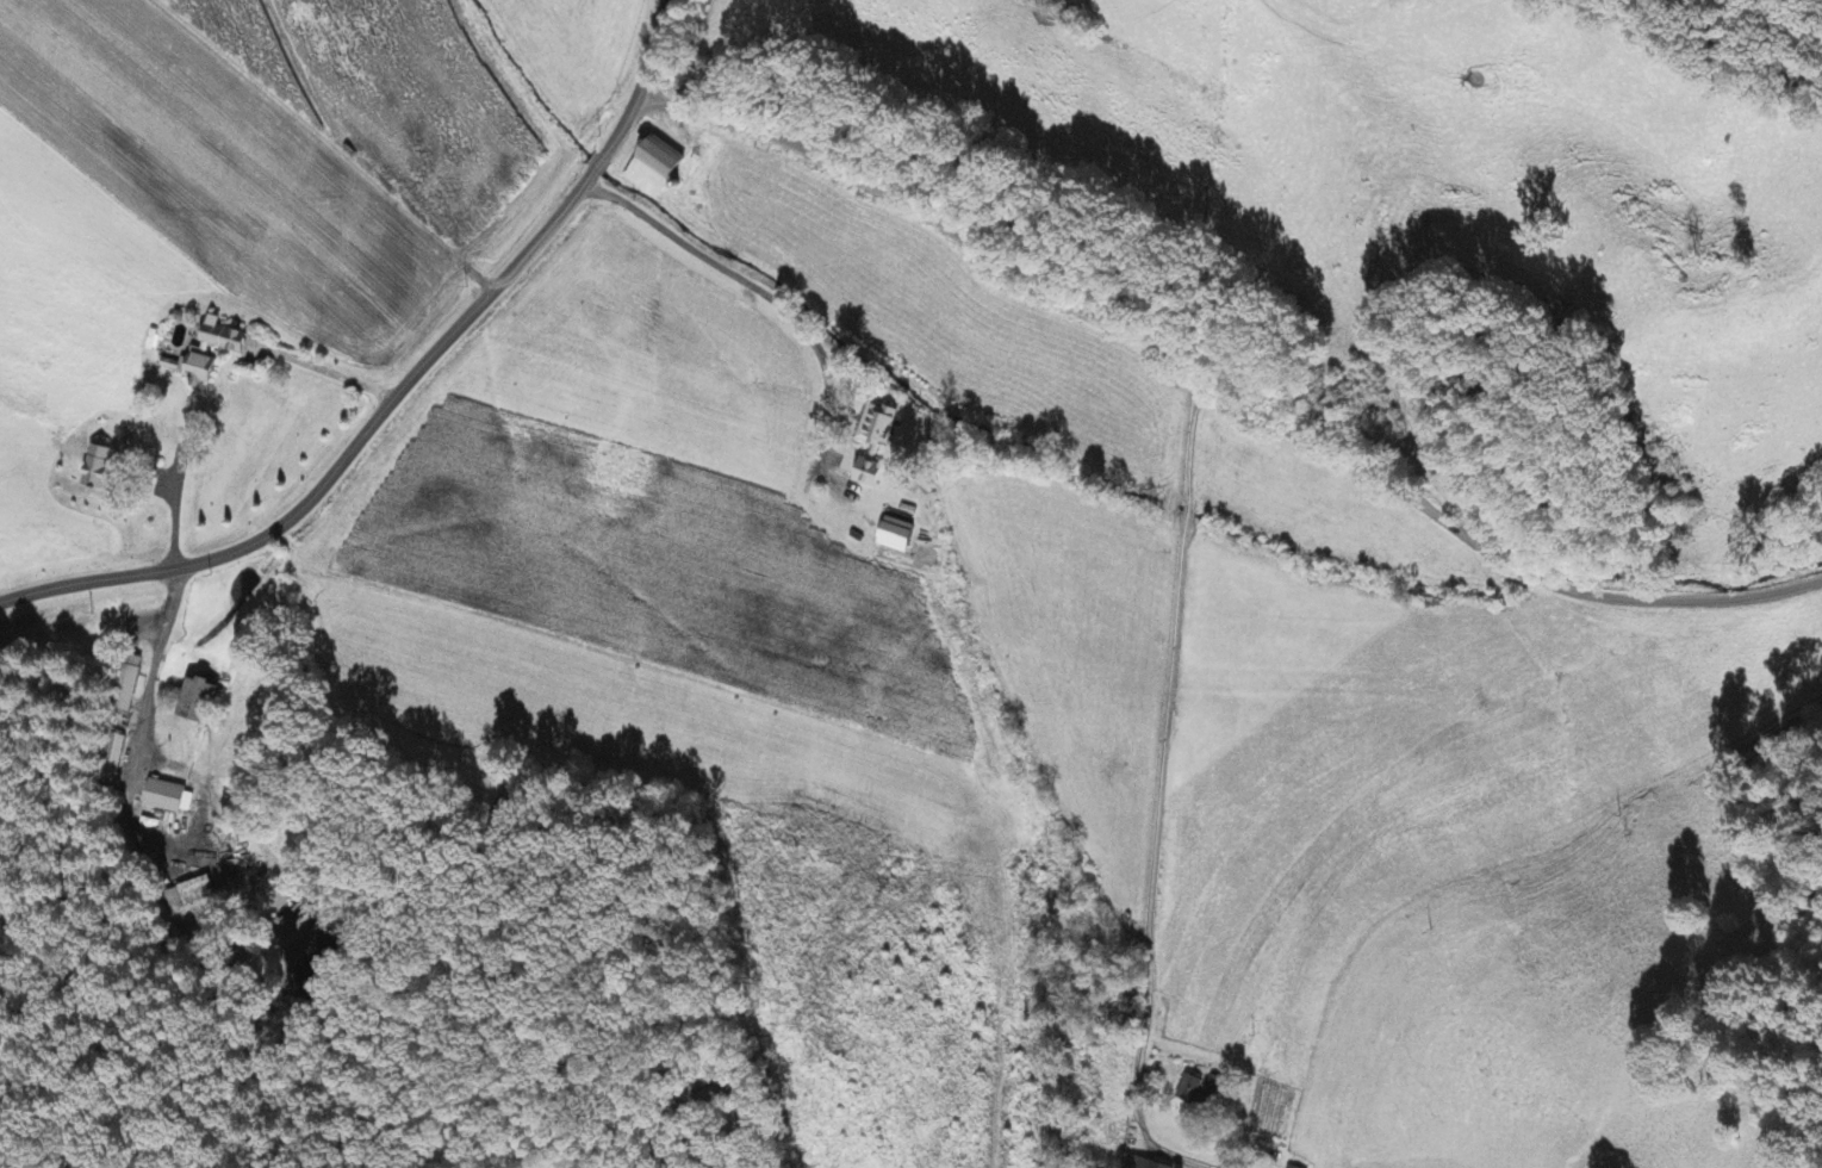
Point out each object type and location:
road: (1727, 46)
road: (658, 48)
road: (623, 125)
road: (599, 162)
building: (657, 170)
road: (1094, 312)
building: (200, 353)
building: (876, 443)
road: (342, 460)
building: (99, 470)
building: (897, 538)
road: (1538, 578)
road: (1686, 597)
building: (200, 703)
building: (167, 799)
building: (198, 891)
building: (1214, 1088)
building: (1189, 1091)
building: (1140, 1163)

